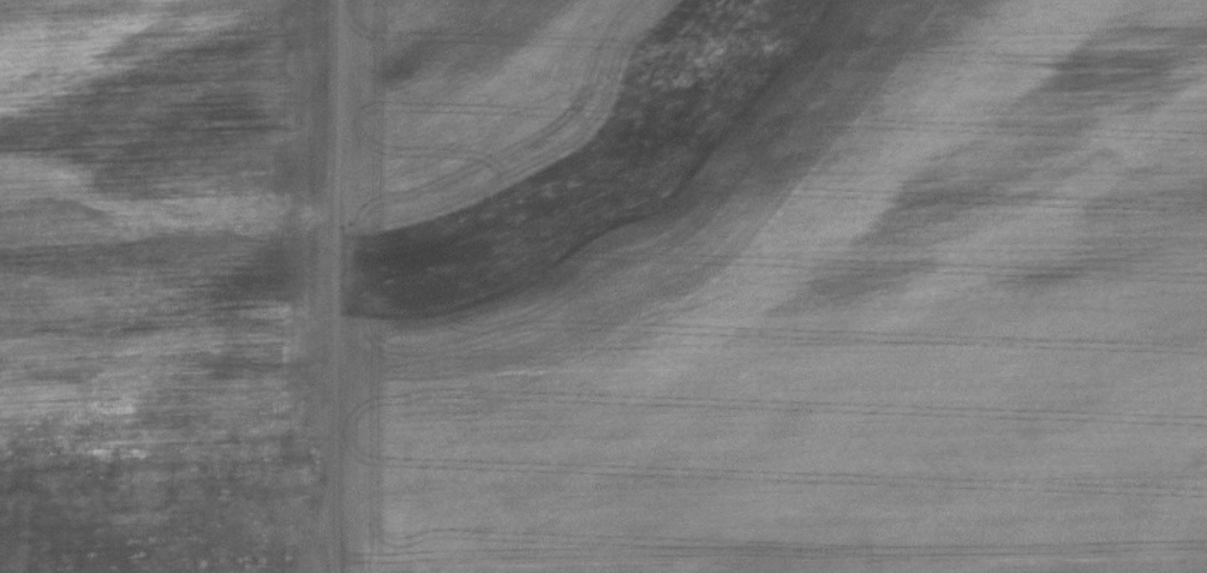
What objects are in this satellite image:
crop: (234, 279)
road: (325, 286)

